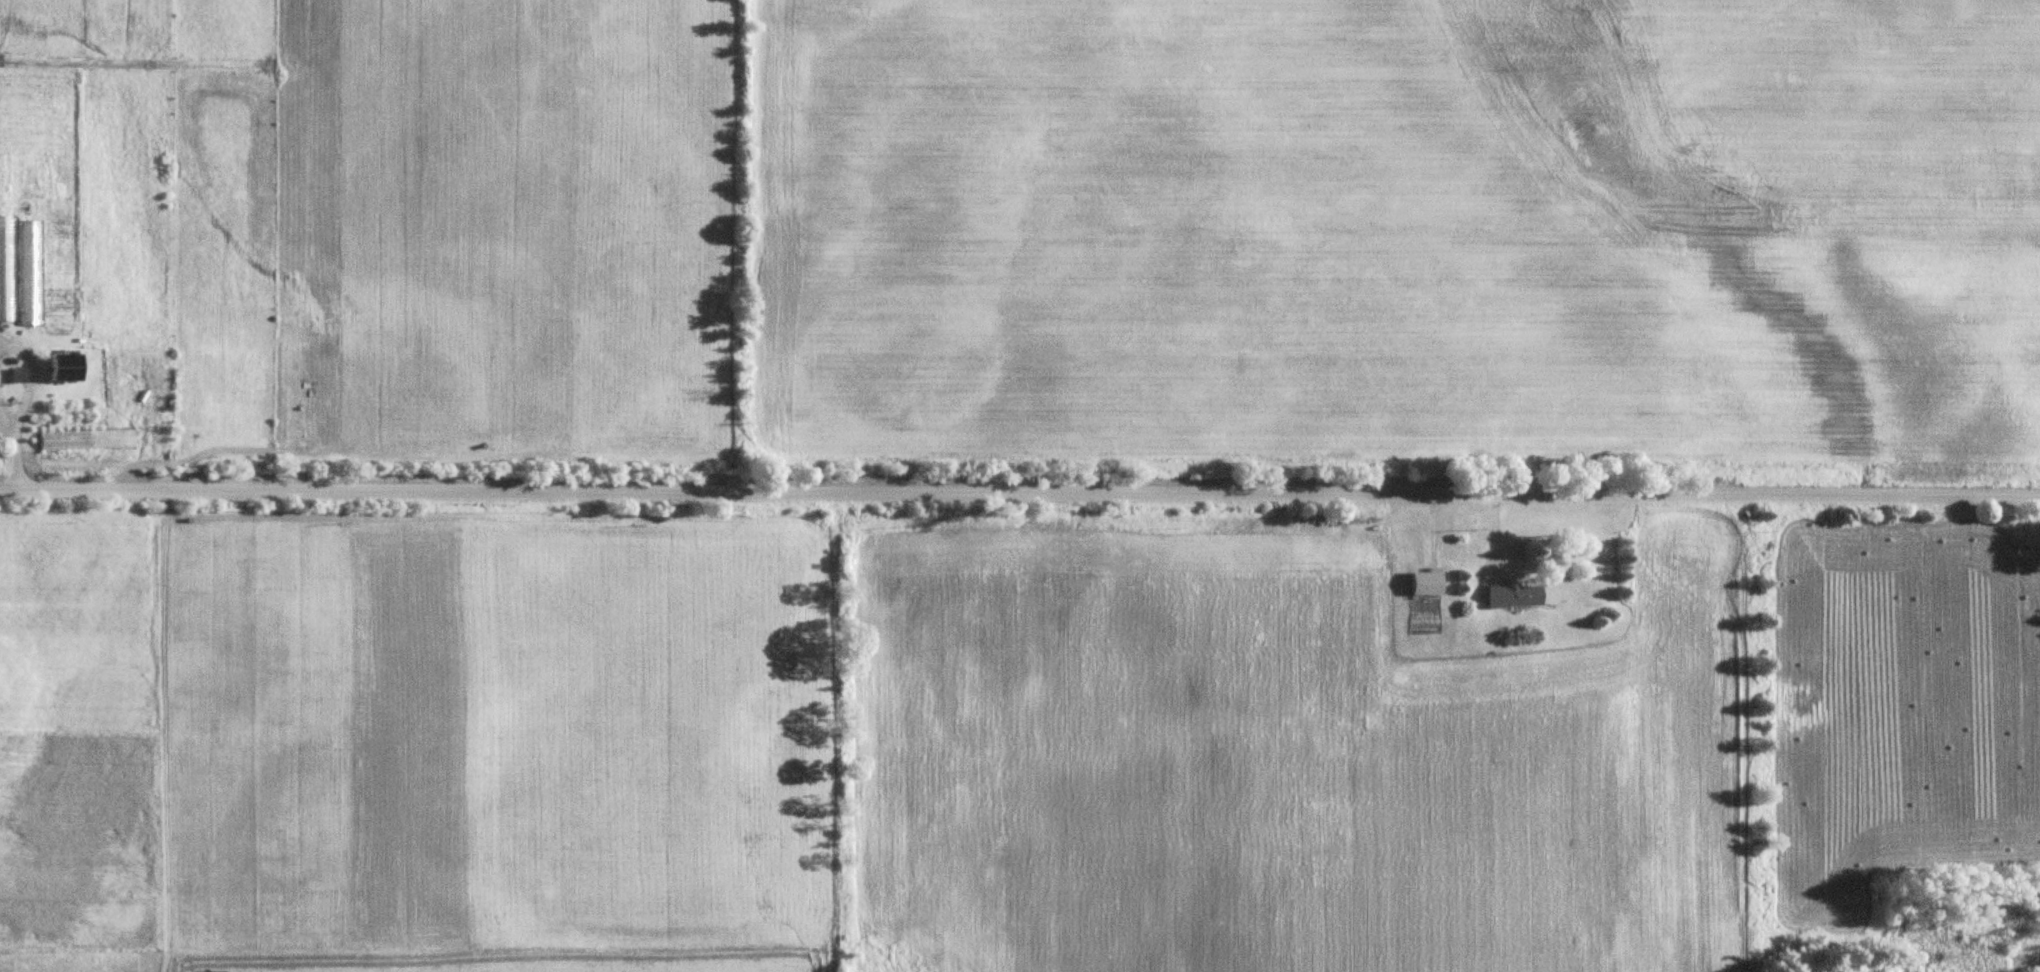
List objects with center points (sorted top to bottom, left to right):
crop: (1394, 235)
building: (58, 366)
road: (35, 367)
road: (8, 410)
road: (24, 454)
road: (1019, 488)
building: (1420, 583)
building: (1508, 596)
crop: (1277, 761)

